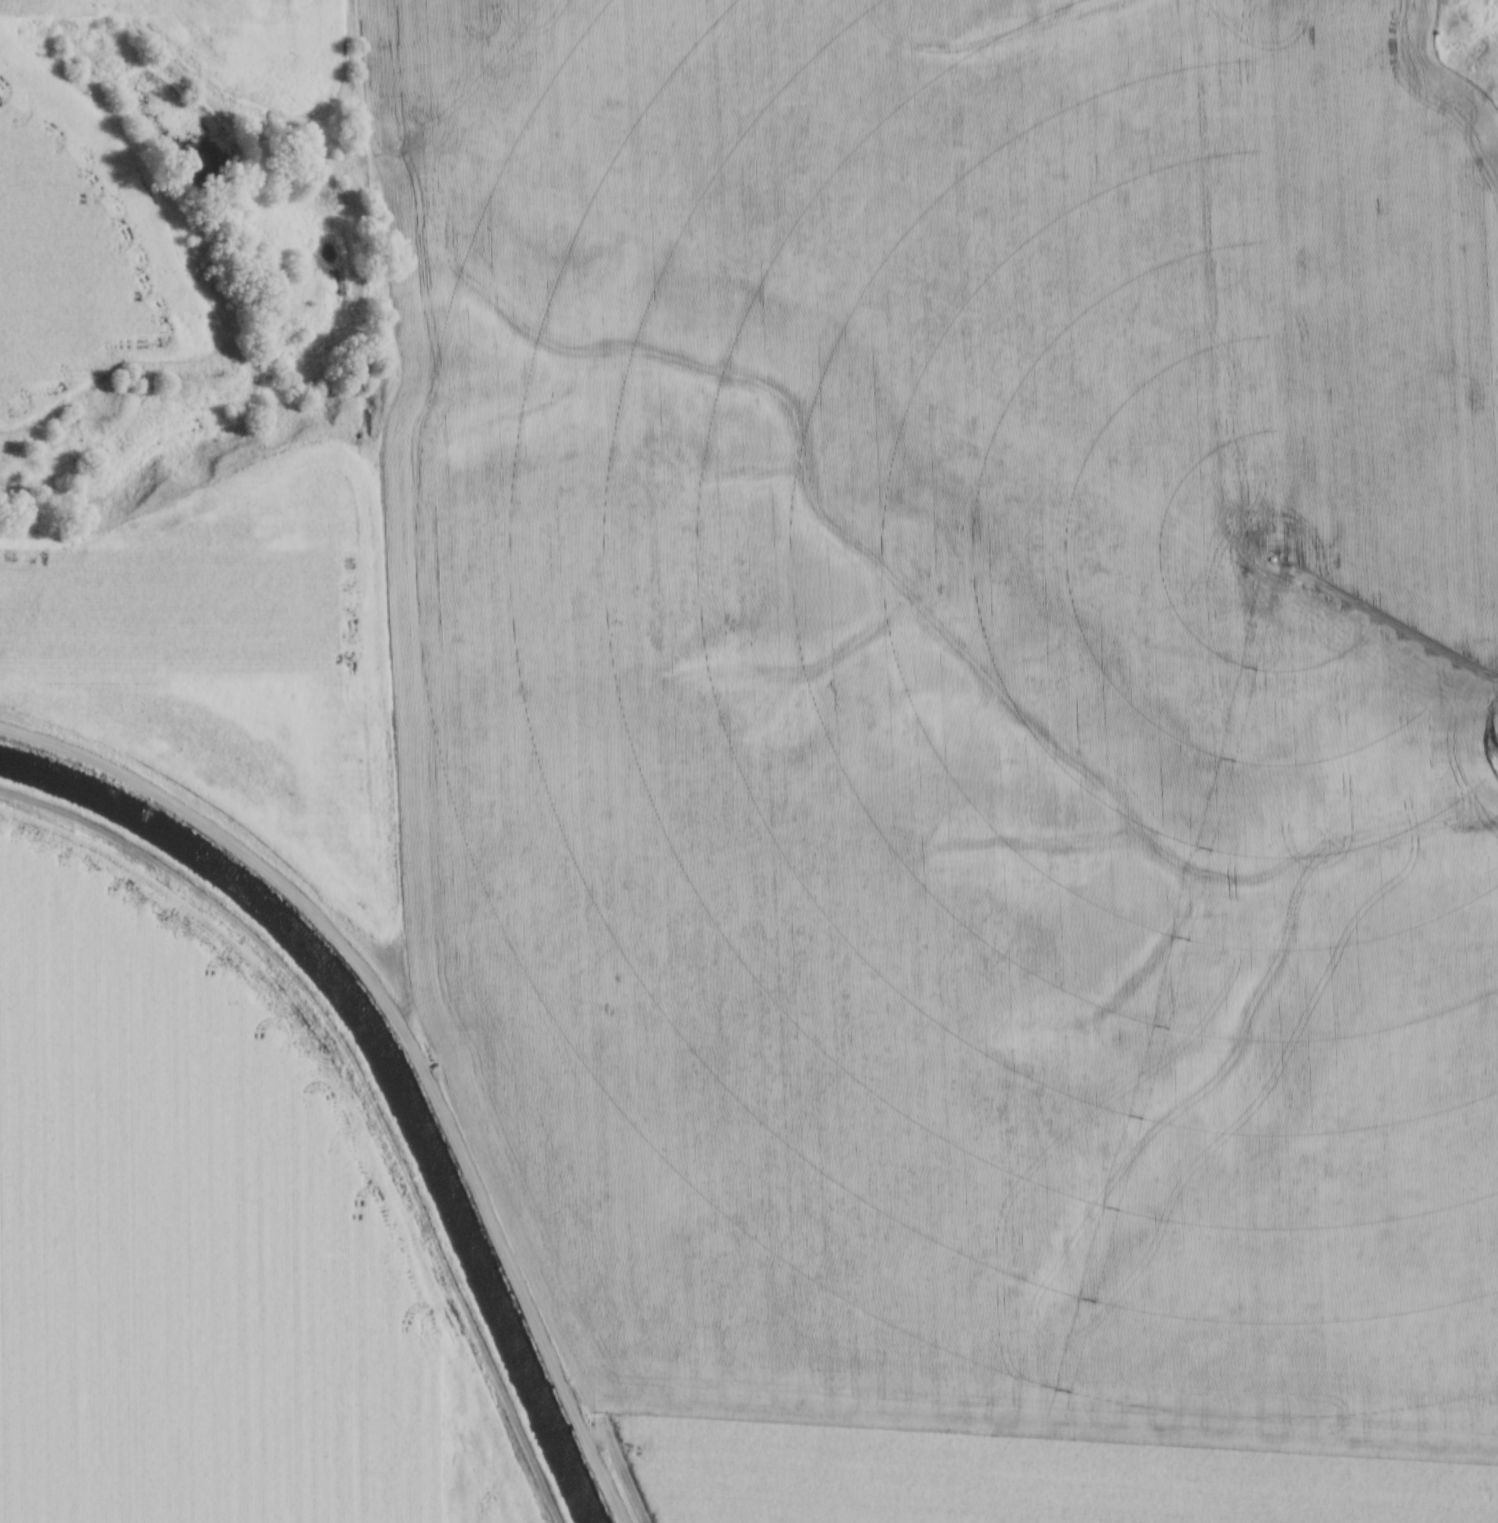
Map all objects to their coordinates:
road: (408, 1041)

